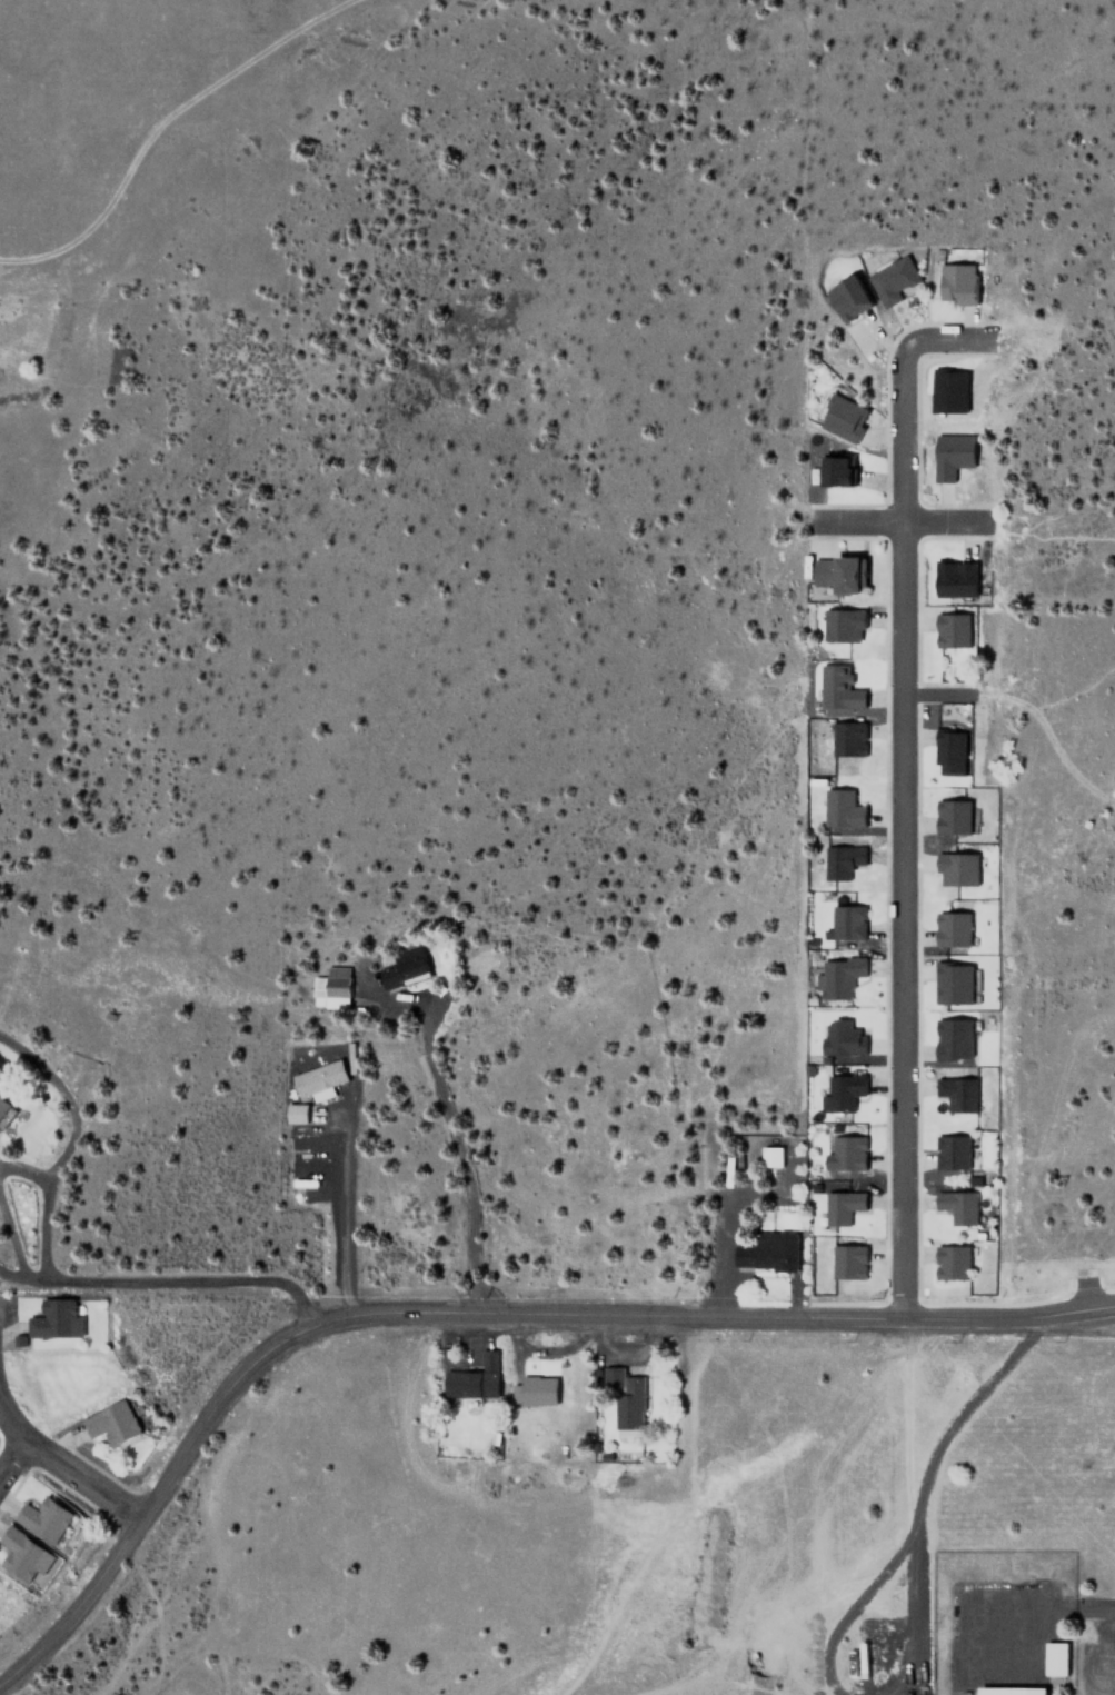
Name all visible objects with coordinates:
building: (904, 279)
building: (967, 281)
building: (857, 299)
building: (950, 391)
building: (850, 413)
building: (957, 448)
building: (844, 470)
road: (898, 521)
building: (848, 574)
building: (959, 576)
building: (846, 621)
building: (958, 630)
building: (843, 686)
building: (850, 734)
building: (956, 748)
road: (903, 790)
building: (845, 807)
building: (956, 811)
building: (847, 830)
building: (844, 857)
building: (960, 864)
building: (848, 918)
building: (955, 925)
building: (401, 969)
building: (843, 974)
building: (958, 981)
building: (330, 987)
building: (957, 1033)
building: (844, 1037)
building: (317, 1078)
building: (846, 1087)
building: (962, 1088)
building: (3, 1105)
building: (293, 1113)
building: (956, 1148)
building: (775, 1151)
building: (848, 1151)
building: (846, 1202)
building: (960, 1202)
building: (769, 1249)
building: (849, 1256)
building: (956, 1257)
road: (168, 1279)
road: (470, 1315)
building: (51, 1317)
building: (474, 1378)
building: (534, 1390)
building: (623, 1397)
building: (109, 1422)
road: (13, 1458)
road: (64, 1466)
building: (42, 1518)
building: (22, 1555)
building: (1053, 1658)
building: (1008, 1691)

